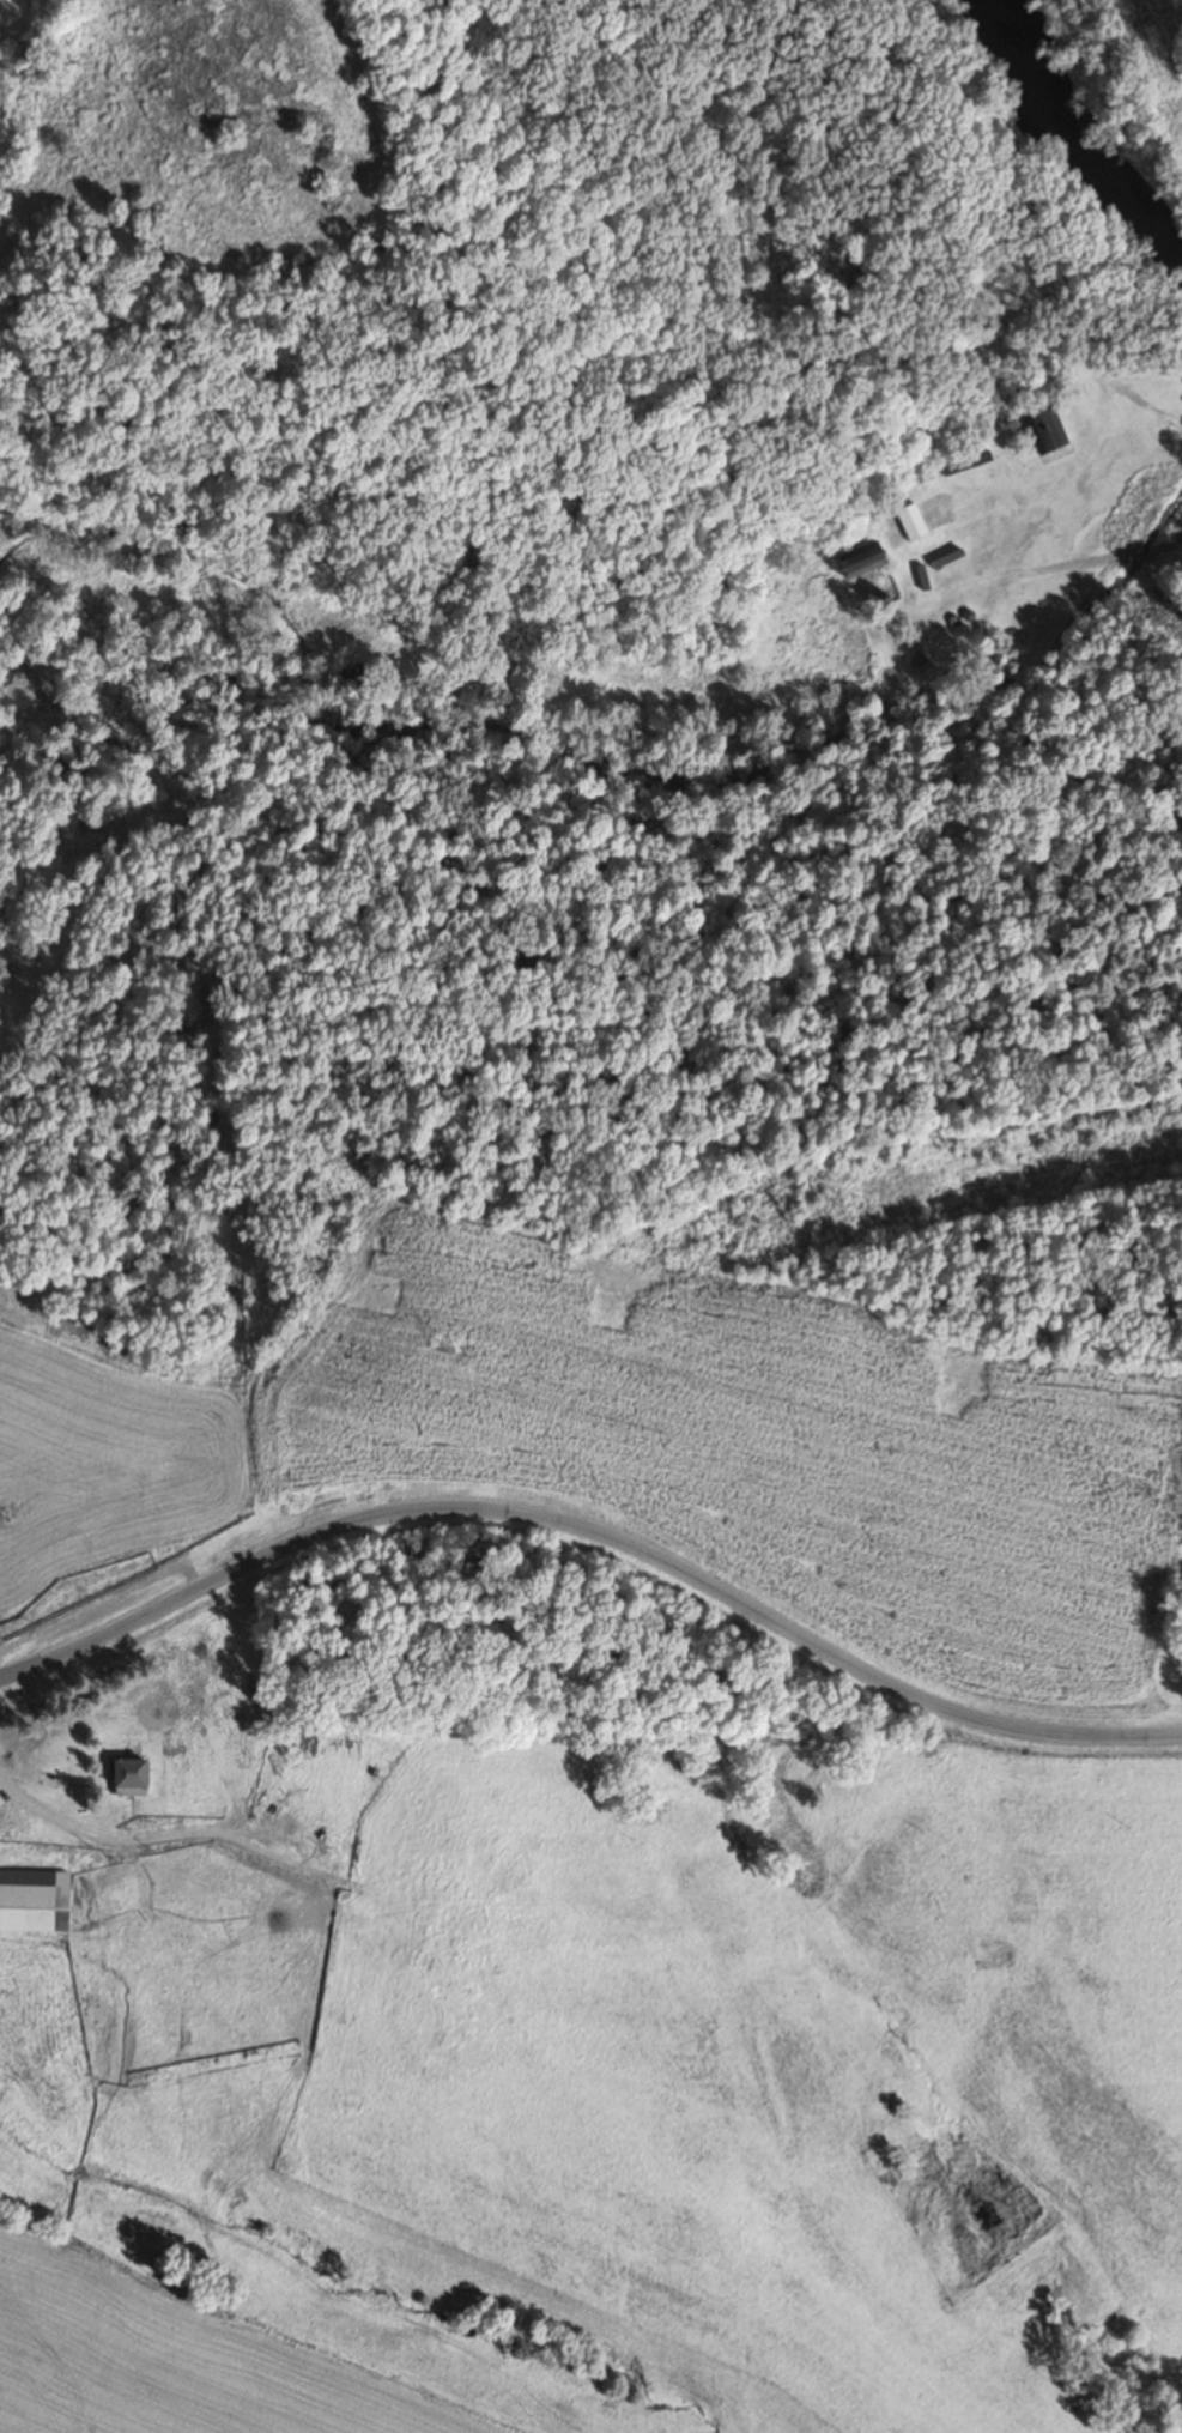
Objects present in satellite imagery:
river: (1056, 157)
road: (1053, 355)
building: (1041, 428)
building: (960, 464)
building: (910, 521)
building: (857, 562)
building: (859, 690)
power tower: (837, 1193)
power tower: (444, 1344)
power tower: (6, 1511)
road: (596, 1538)
building: (126, 1778)
building: (32, 1900)

